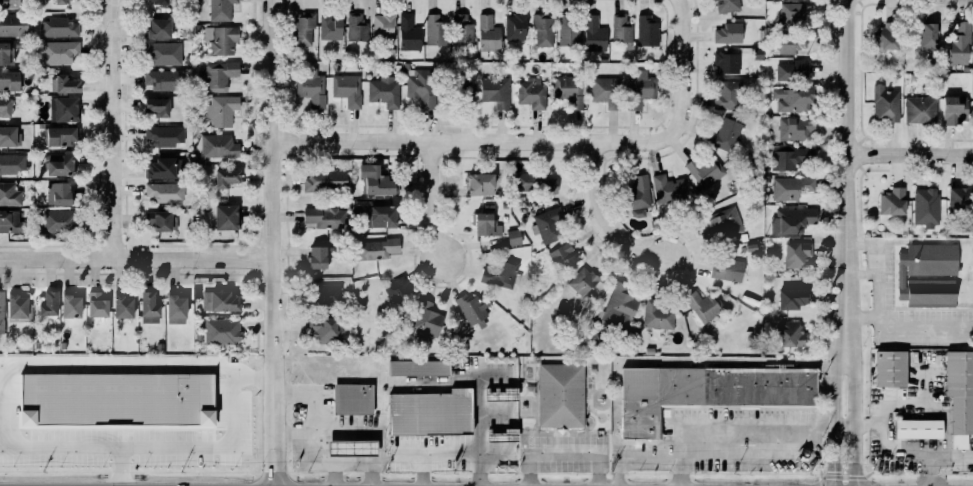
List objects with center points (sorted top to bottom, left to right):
building: (61, 1)
building: (9, 3)
building: (158, 3)
building: (725, 5)
building: (221, 11)
building: (791, 11)
building: (12, 24)
building: (383, 25)
building: (329, 26)
building: (515, 27)
building: (303, 28)
building: (621, 28)
building: (59, 29)
building: (435, 29)
building: (568, 30)
building: (357, 31)
building: (462, 31)
building: (543, 31)
building: (647, 31)
building: (408, 32)
building: (160, 33)
building: (728, 33)
building: (488, 34)
building: (594, 34)
building: (884, 37)
building: (221, 39)
building: (925, 41)
building: (791, 43)
building: (959, 44)
building: (58, 51)
building: (5, 53)
building: (163, 55)
building: (727, 63)
building: (790, 66)
road: (689, 70)
building: (215, 74)
building: (163, 78)
building: (9, 80)
building: (61, 83)
building: (310, 86)
building: (420, 86)
building: (640, 89)
building: (570, 90)
building: (607, 91)
building: (348, 92)
building: (463, 92)
building: (496, 93)
building: (532, 93)
building: (385, 94)
building: (727, 95)
building: (793, 99)
building: (884, 103)
building: (4, 106)
building: (154, 107)
building: (63, 109)
building: (954, 109)
building: (221, 110)
building: (921, 112)
road: (119, 129)
building: (796, 130)
building: (8, 134)
building: (722, 134)
building: (59, 135)
building: (162, 135)
road: (476, 141)
building: (216, 145)
road: (911, 152)
building: (793, 157)
building: (12, 162)
building: (59, 164)
building: (162, 168)
building: (705, 170)
building: (223, 177)
building: (322, 179)
building: (373, 182)
building: (535, 182)
building: (480, 183)
building: (788, 186)
building: (666, 188)
building: (162, 191)
building: (58, 192)
building: (9, 194)
building: (637, 196)
building: (960, 199)
building: (890, 201)
road: (430, 202)
building: (926, 207)
road: (848, 212)
building: (225, 216)
building: (324, 216)
building: (378, 216)
building: (156, 219)
road: (598, 219)
building: (11, 220)
building: (56, 220)
building: (791, 220)
building: (485, 224)
building: (548, 225)
building: (722, 225)
building: (513, 237)
road: (280, 243)
building: (375, 247)
building: (796, 253)
building: (563, 256)
building: (315, 257)
road: (873, 257)
road: (140, 258)
building: (726, 269)
building: (501, 274)
building: (927, 274)
building: (583, 280)
building: (395, 288)
building: (325, 294)
building: (792, 298)
building: (46, 304)
building: (96, 304)
building: (222, 304)
building: (701, 304)
building: (70, 305)
building: (123, 306)
building: (620, 306)
building: (146, 307)
building: (16, 308)
building: (173, 308)
building: (470, 309)
building: (0, 311)
building: (656, 314)
building: (424, 318)
road: (903, 326)
building: (323, 328)
building: (220, 330)
building: (789, 334)
road: (26, 363)
building: (419, 368)
building: (890, 368)
building: (708, 391)
building: (962, 393)
building: (501, 394)
building: (561, 395)
building: (115, 398)
building: (353, 398)
building: (427, 412)
road: (477, 428)
road: (734, 428)
road: (348, 432)
building: (922, 434)
building: (501, 435)
road: (209, 445)
building: (351, 446)
road: (896, 447)
gas station: (351, 448)
road: (562, 450)
road: (309, 453)
road: (633, 455)
road: (747, 455)
road: (845, 455)
road: (429, 456)
road: (420, 471)
road: (331, 475)

